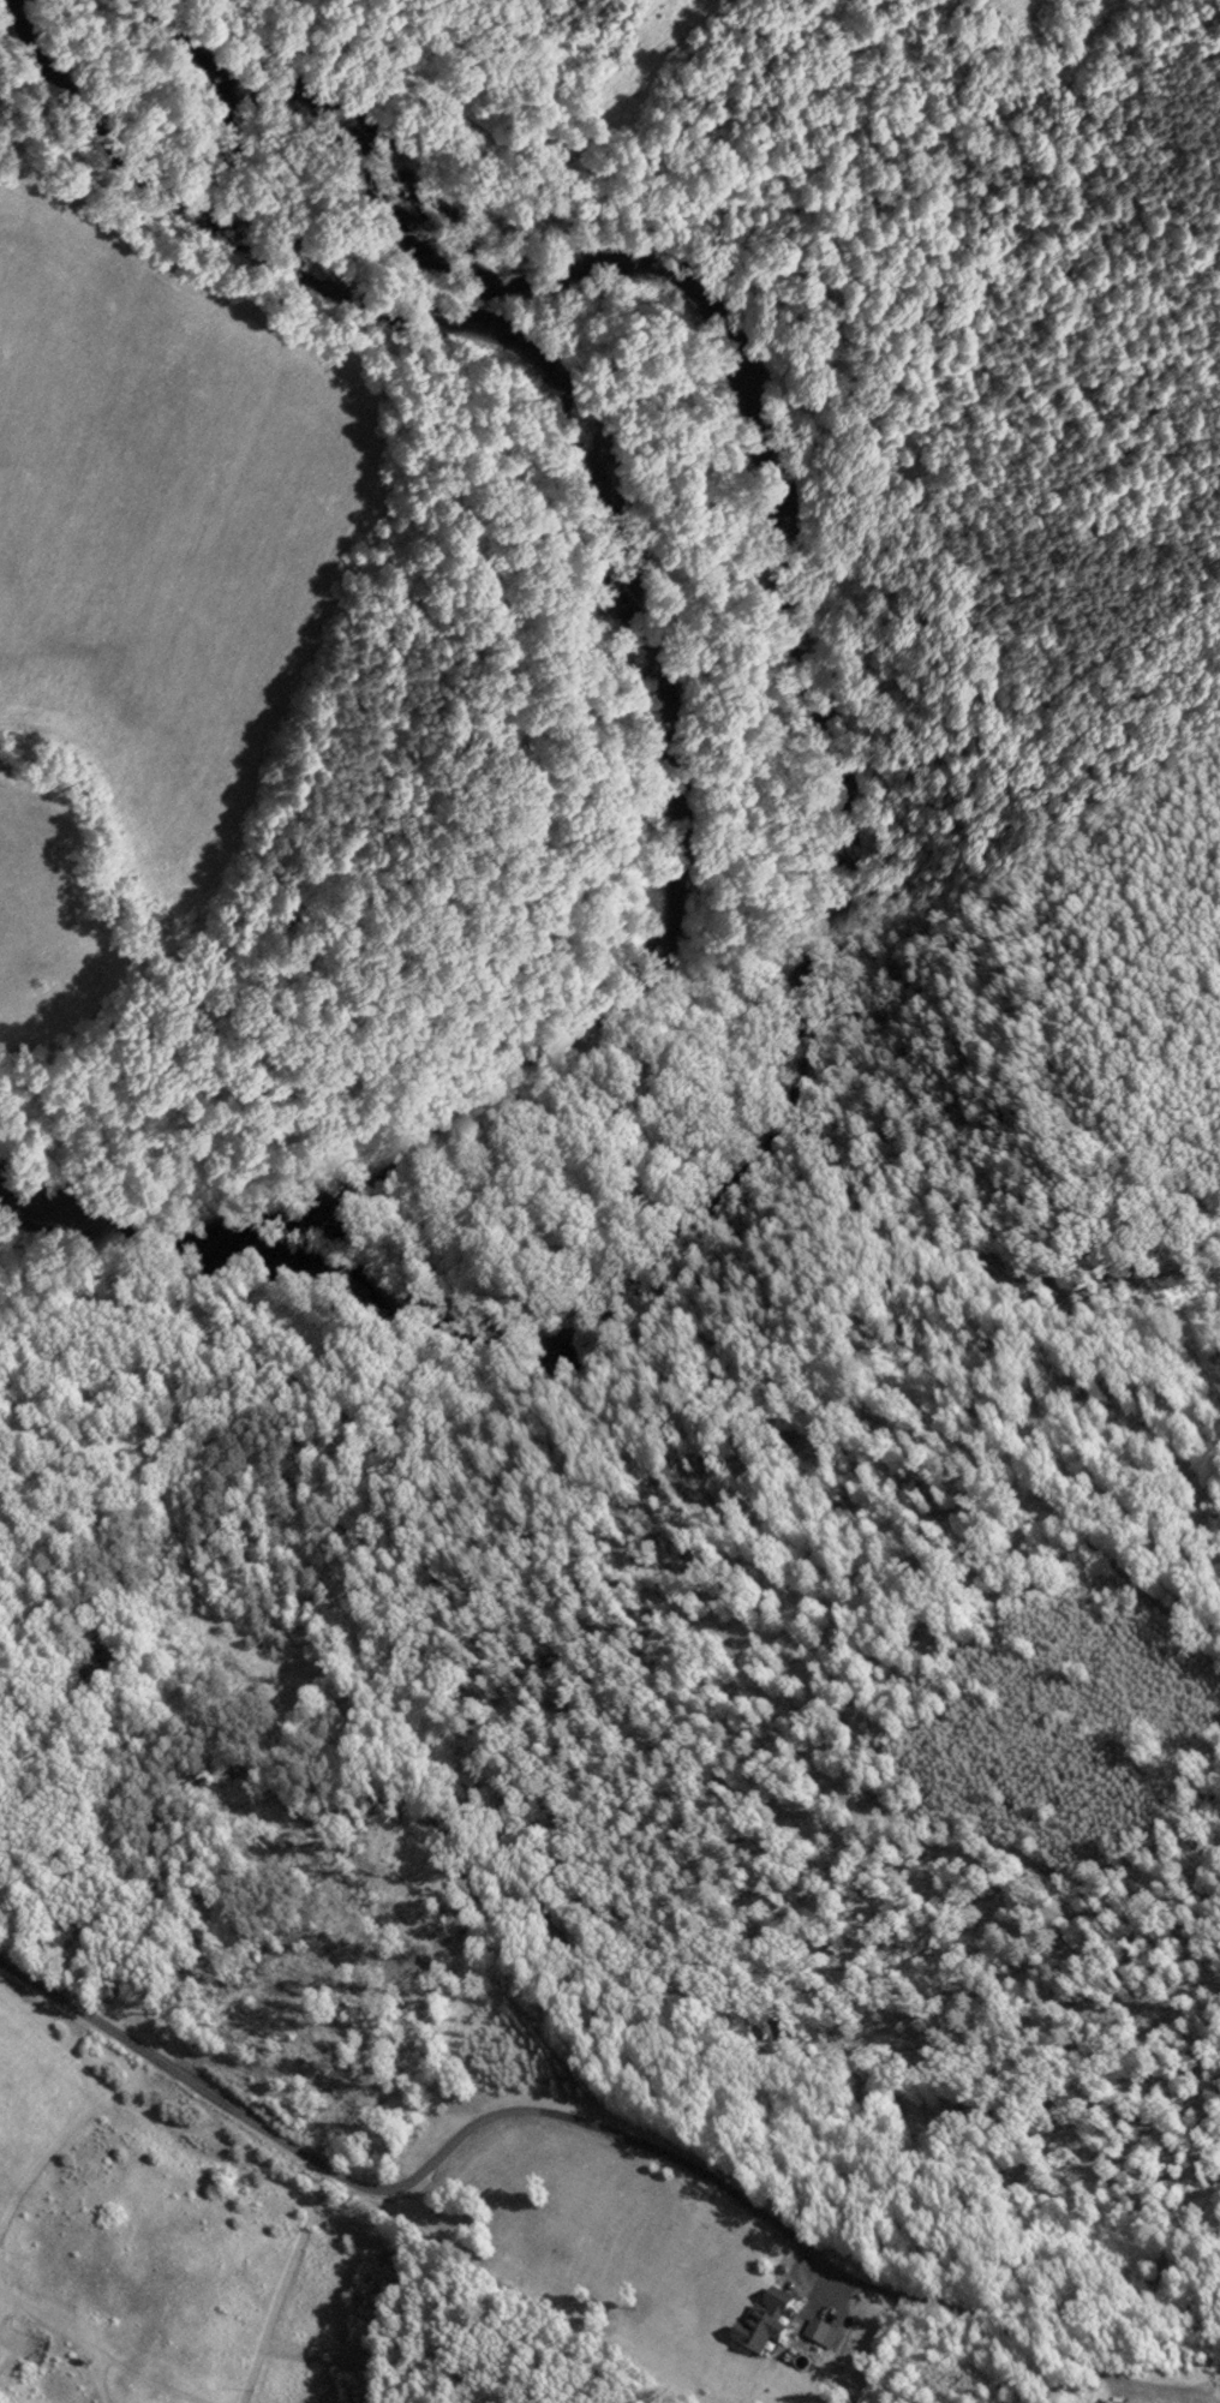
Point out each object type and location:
river: (641, 727)
road: (411, 2183)
building: (772, 2320)

